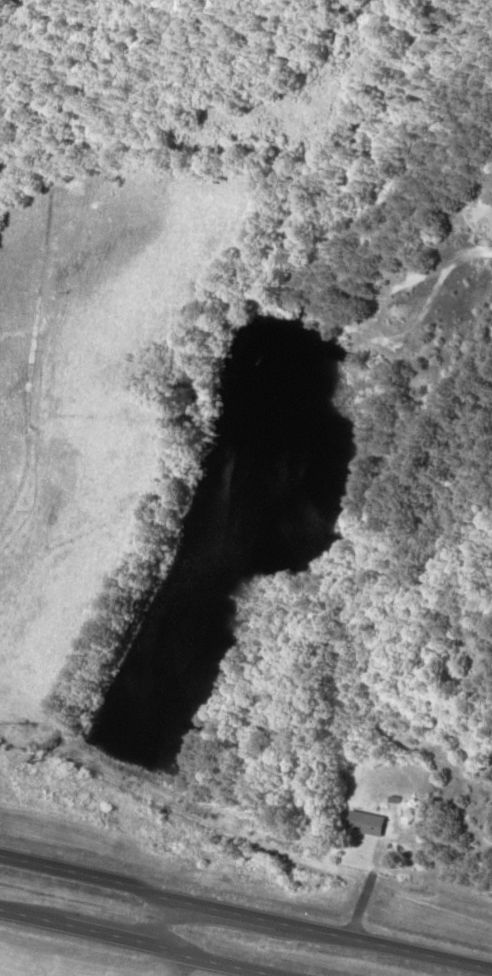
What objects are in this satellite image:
building: (365, 823)
road: (245, 916)
road: (156, 923)
road: (138, 945)
road: (182, 965)

